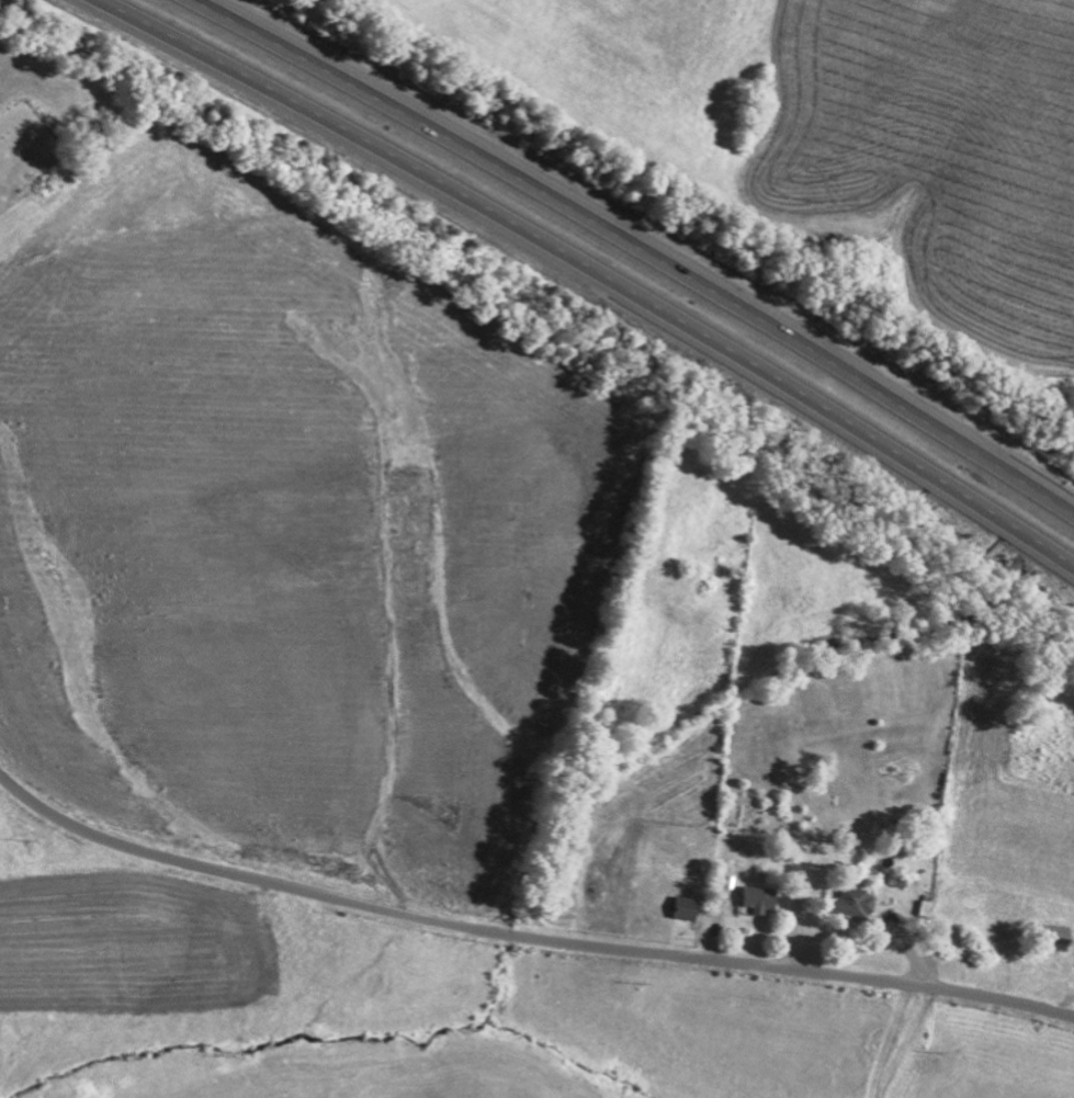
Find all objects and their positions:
road: (642, 246)
road: (596, 267)
building: (764, 898)
building: (855, 902)
building: (689, 907)
building: (1058, 936)
road: (523, 939)

